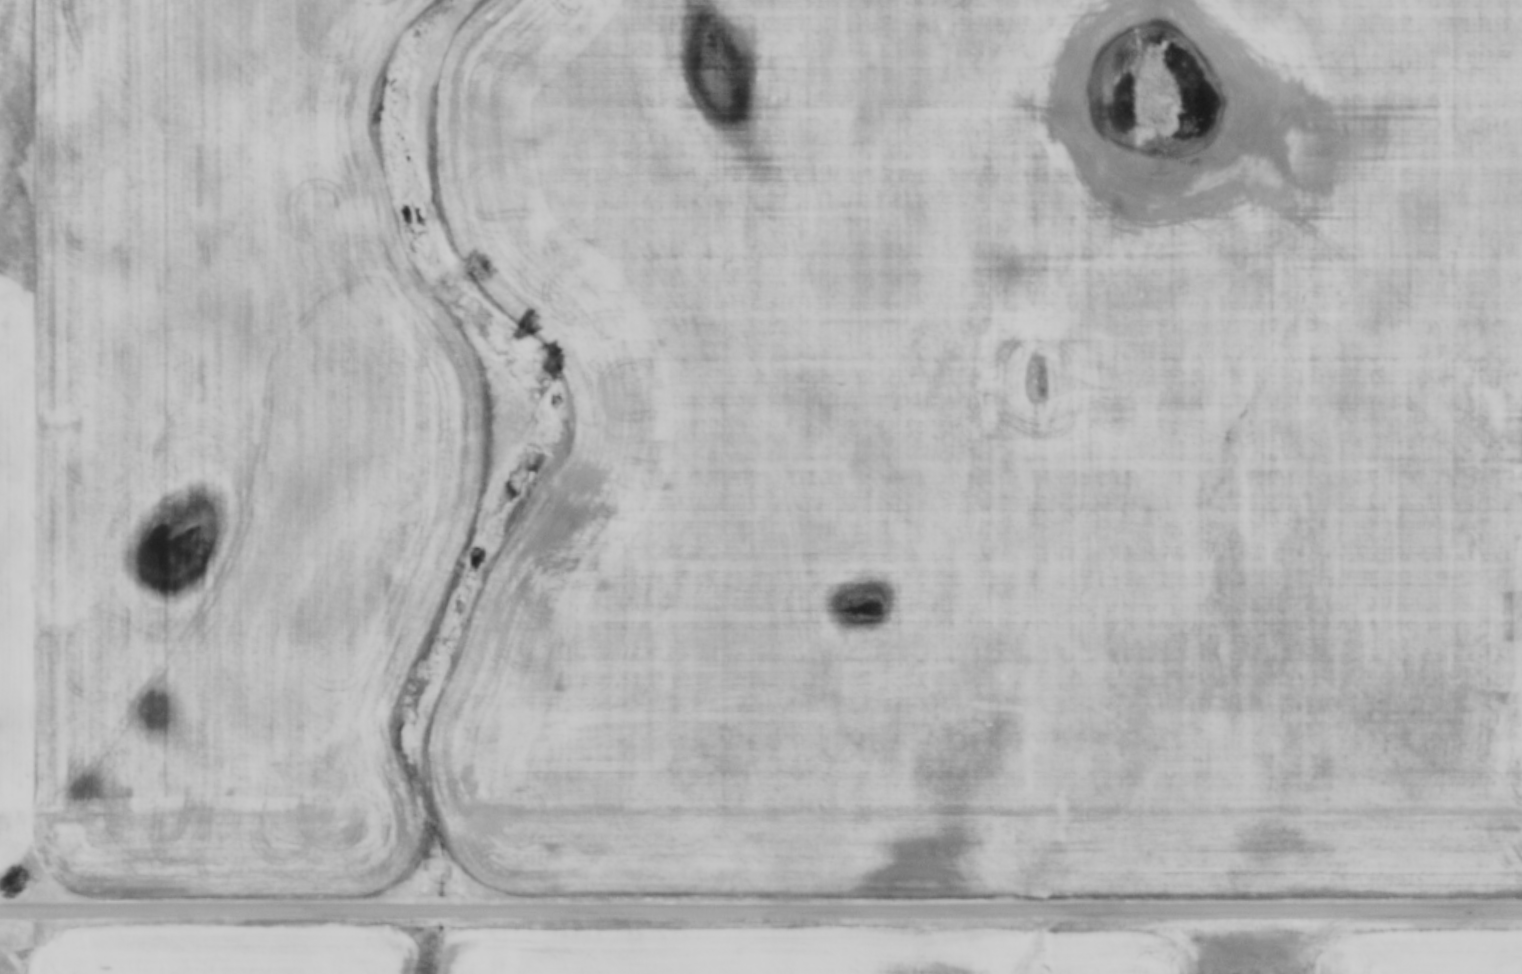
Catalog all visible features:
road: (761, 907)

